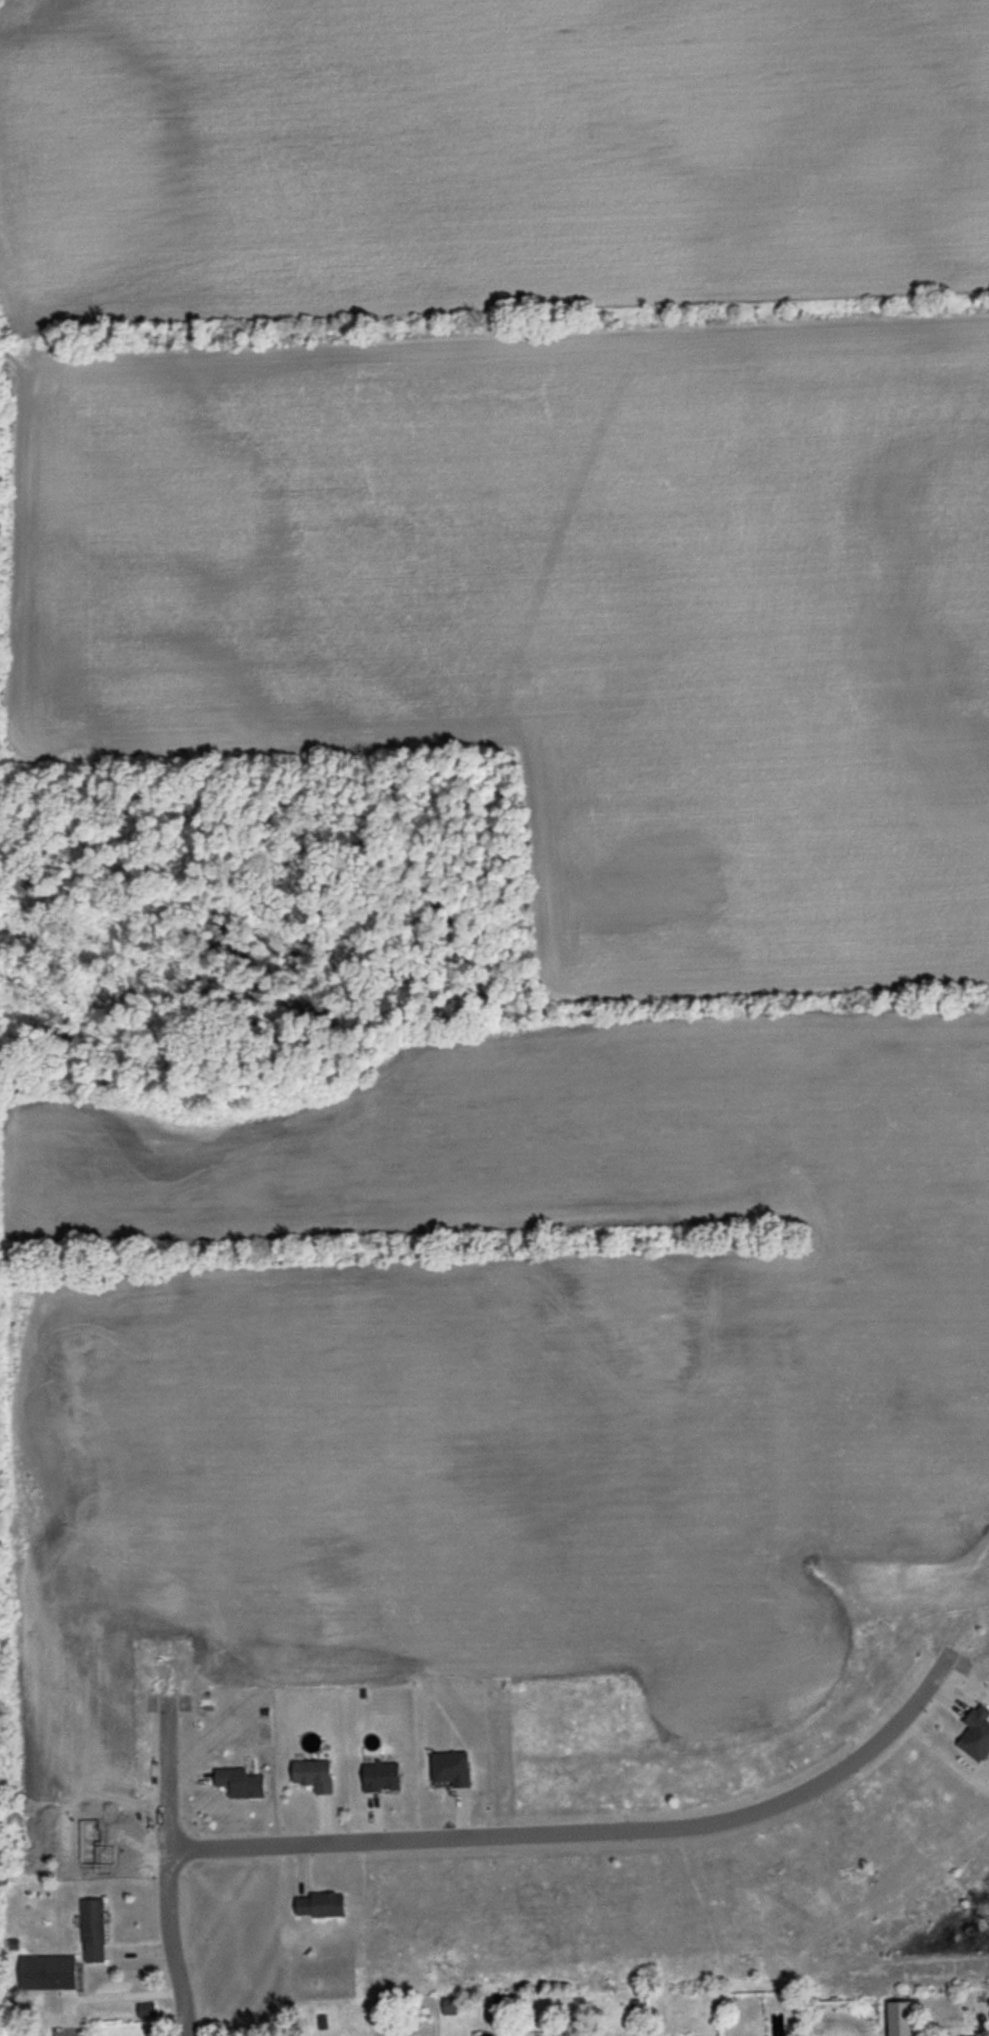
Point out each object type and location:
building: (976, 1733)
building: (451, 1768)
building: (313, 1774)
building: (381, 1776)
building: (240, 1782)
road: (583, 1825)
road: (162, 1867)
building: (320, 1904)
building: (93, 1930)
building: (49, 1973)
building: (449, 2005)
building: (146, 2010)
building: (974, 2035)

